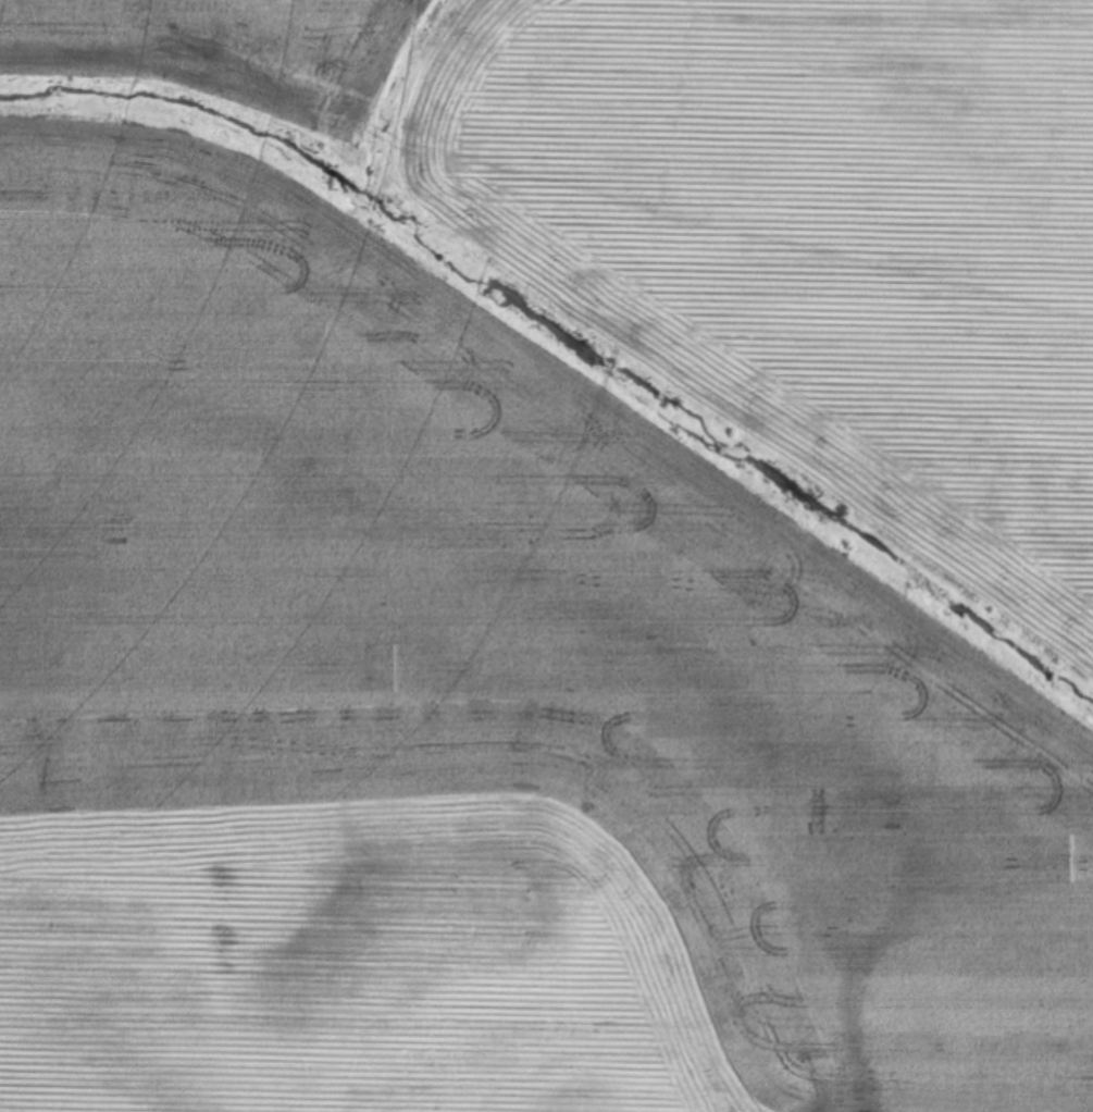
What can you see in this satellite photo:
crop: (546, 556)

